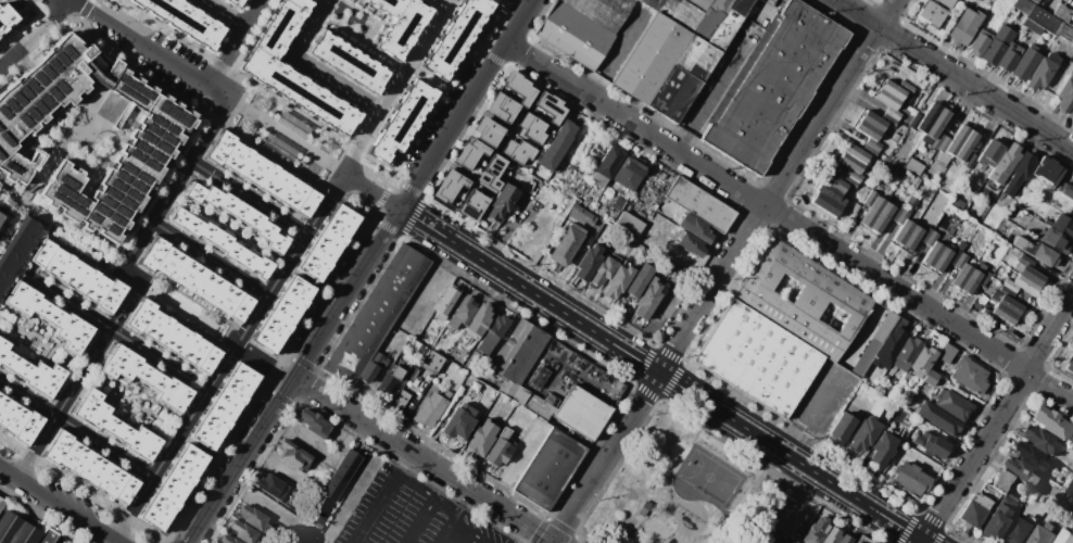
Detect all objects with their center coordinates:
road: (71, 1)
building: (1035, 1)
building: (235, 2)
road: (446, 2)
building: (944, 2)
building: (700, 3)
building: (388, 5)
building: (1023, 5)
building: (602, 11)
road: (760, 11)
building: (678, 12)
building: (930, 12)
building: (1063, 13)
road: (222, 14)
building: (5, 15)
building: (187, 18)
building: (710, 18)
building: (1044, 20)
building: (1025, 22)
building: (729, 23)
building: (965, 24)
building: (402, 28)
building: (1065, 33)
building: (573, 35)
road: (36, 36)
building: (454, 36)
road: (235, 42)
building: (979, 42)
building: (997, 45)
road: (150, 51)
road: (617, 51)
building: (1008, 56)
building: (651, 58)
building: (348, 62)
parking lot: (176, 63)
building: (1025, 63)
road: (312, 68)
building: (1042, 72)
road: (954, 75)
building: (683, 78)
road: (399, 87)
building: (519, 87)
building: (906, 87)
building: (773, 88)
building: (893, 89)
building: (296, 91)
road: (711, 92)
building: (1065, 94)
building: (887, 98)
road: (468, 104)
building: (500, 105)
building: (550, 105)
building: (893, 113)
building: (1071, 113)
building: (929, 117)
building: (401, 119)
building: (888, 119)
building: (873, 121)
building: (914, 121)
building: (937, 123)
building: (293, 124)
building: (531, 126)
road: (85, 129)
building: (867, 129)
building: (485, 130)
park: (289, 134)
road: (287, 137)
building: (896, 137)
building: (154, 139)
building: (937, 139)
building: (957, 139)
building: (873, 143)
building: (944, 143)
building: (557, 144)
building: (967, 146)
building: (280, 147)
building: (515, 150)
building: (869, 150)
building: (468, 153)
building: (856, 153)
building: (990, 153)
building: (943, 159)
building: (968, 160)
building: (886, 161)
building: (850, 162)
building: (1003, 163)
building: (607, 165)
building: (894, 166)
building: (913, 166)
building: (1048, 171)
building: (263, 172)
building: (1019, 172)
building: (489, 173)
building: (630, 173)
building: (854, 175)
building: (923, 176)
building: (914, 180)
building: (834, 181)
building: (849, 181)
road: (175, 185)
building: (985, 185)
building: (446, 186)
road: (373, 191)
building: (1068, 191)
building: (830, 192)
road: (249, 198)
building: (871, 198)
building: (502, 202)
building: (910, 203)
building: (471, 204)
building: (699, 204)
building: (825, 204)
building: (856, 207)
building: (872, 212)
building: (895, 212)
building: (239, 214)
building: (581, 215)
building: (850, 216)
building: (902, 216)
building: (925, 217)
building: (1, 218)
building: (881, 218)
road: (790, 222)
road: (10, 224)
building: (629, 225)
road: (510, 226)
building: (1062, 226)
building: (694, 227)
road: (61, 230)
building: (902, 232)
building: (925, 235)
building: (911, 238)
building: (931, 239)
building: (1055, 241)
building: (220, 242)
building: (327, 242)
building: (567, 243)
building: (690, 244)
building: (583, 245)
building: (961, 245)
building: (1024, 245)
building: (17, 250)
building: (932, 254)
building: (1044, 255)
building: (954, 256)
road: (211, 258)
building: (942, 260)
building: (961, 261)
building: (1025, 261)
building: (588, 262)
building: (1018, 266)
building: (980, 267)
road: (725, 270)
building: (603, 271)
building: (78, 275)
road: (131, 275)
building: (1031, 275)
building: (961, 276)
building: (639, 279)
building: (197, 280)
building: (618, 280)
building: (971, 281)
building: (980, 285)
building: (1010, 285)
building: (1025, 285)
building: (1006, 291)
building: (803, 299)
building: (647, 300)
building: (445, 303)
building: (1009, 304)
building: (462, 313)
building: (1003, 313)
building: (280, 314)
building: (377, 314)
building: (987, 315)
building: (55, 318)
building: (478, 321)
road: (108, 328)
building: (492, 332)
building: (172, 336)
building: (1070, 342)
building: (873, 343)
building: (888, 348)
building: (519, 352)
building: (906, 353)
road: (229, 358)
building: (759, 358)
building: (922, 361)
building: (1069, 361)
building: (432, 362)
building: (938, 364)
road: (265, 365)
building: (374, 367)
building: (30, 369)
building: (969, 375)
road: (296, 376)
road: (665, 376)
building: (147, 377)
building: (870, 379)
road: (78, 380)
building: (390, 380)
building: (527, 399)
building: (400, 401)
building: (951, 403)
road: (408, 405)
building: (431, 408)
building: (581, 413)
building: (937, 418)
building: (17, 419)
road: (812, 419)
building: (458, 422)
road: (996, 422)
building: (1051, 422)
building: (314, 424)
building: (117, 426)
building: (842, 427)
road: (77, 429)
building: (863, 434)
building: (482, 438)
building: (1039, 440)
building: (931, 445)
building: (201, 446)
road: (694, 446)
building: (500, 449)
building: (882, 449)
road: (718, 452)
building: (293, 456)
building: (1032, 456)
road: (425, 460)
building: (94, 466)
building: (548, 468)
building: (1021, 470)
building: (341, 476)
park: (714, 477)
building: (910, 479)
building: (998, 484)
building: (272, 487)
park: (683, 490)
building: (1071, 491)
road: (381, 497)
road: (432, 497)
road: (704, 498)
building: (2, 502)
road: (58, 506)
building: (645, 507)
building: (780, 507)
road: (807, 507)
building: (973, 510)
parking lot: (409, 514)
building: (998, 517)
building: (254, 519)
building: (774, 521)
building: (9, 527)
road: (653, 528)
road: (669, 528)
road: (465, 529)
building: (816, 530)
road: (444, 531)
building: (1019, 531)
building: (29, 532)
building: (244, 532)
building: (1044, 533)
road: (624, 534)
road: (655, 534)
building: (831, 535)
building: (1065, 535)
building: (48, 536)
road: (469, 539)
building: (844, 539)
building: (229, 540)
building: (777, 540)
building: (856, 542)
building: (872, 542)
building: (874, 542)

